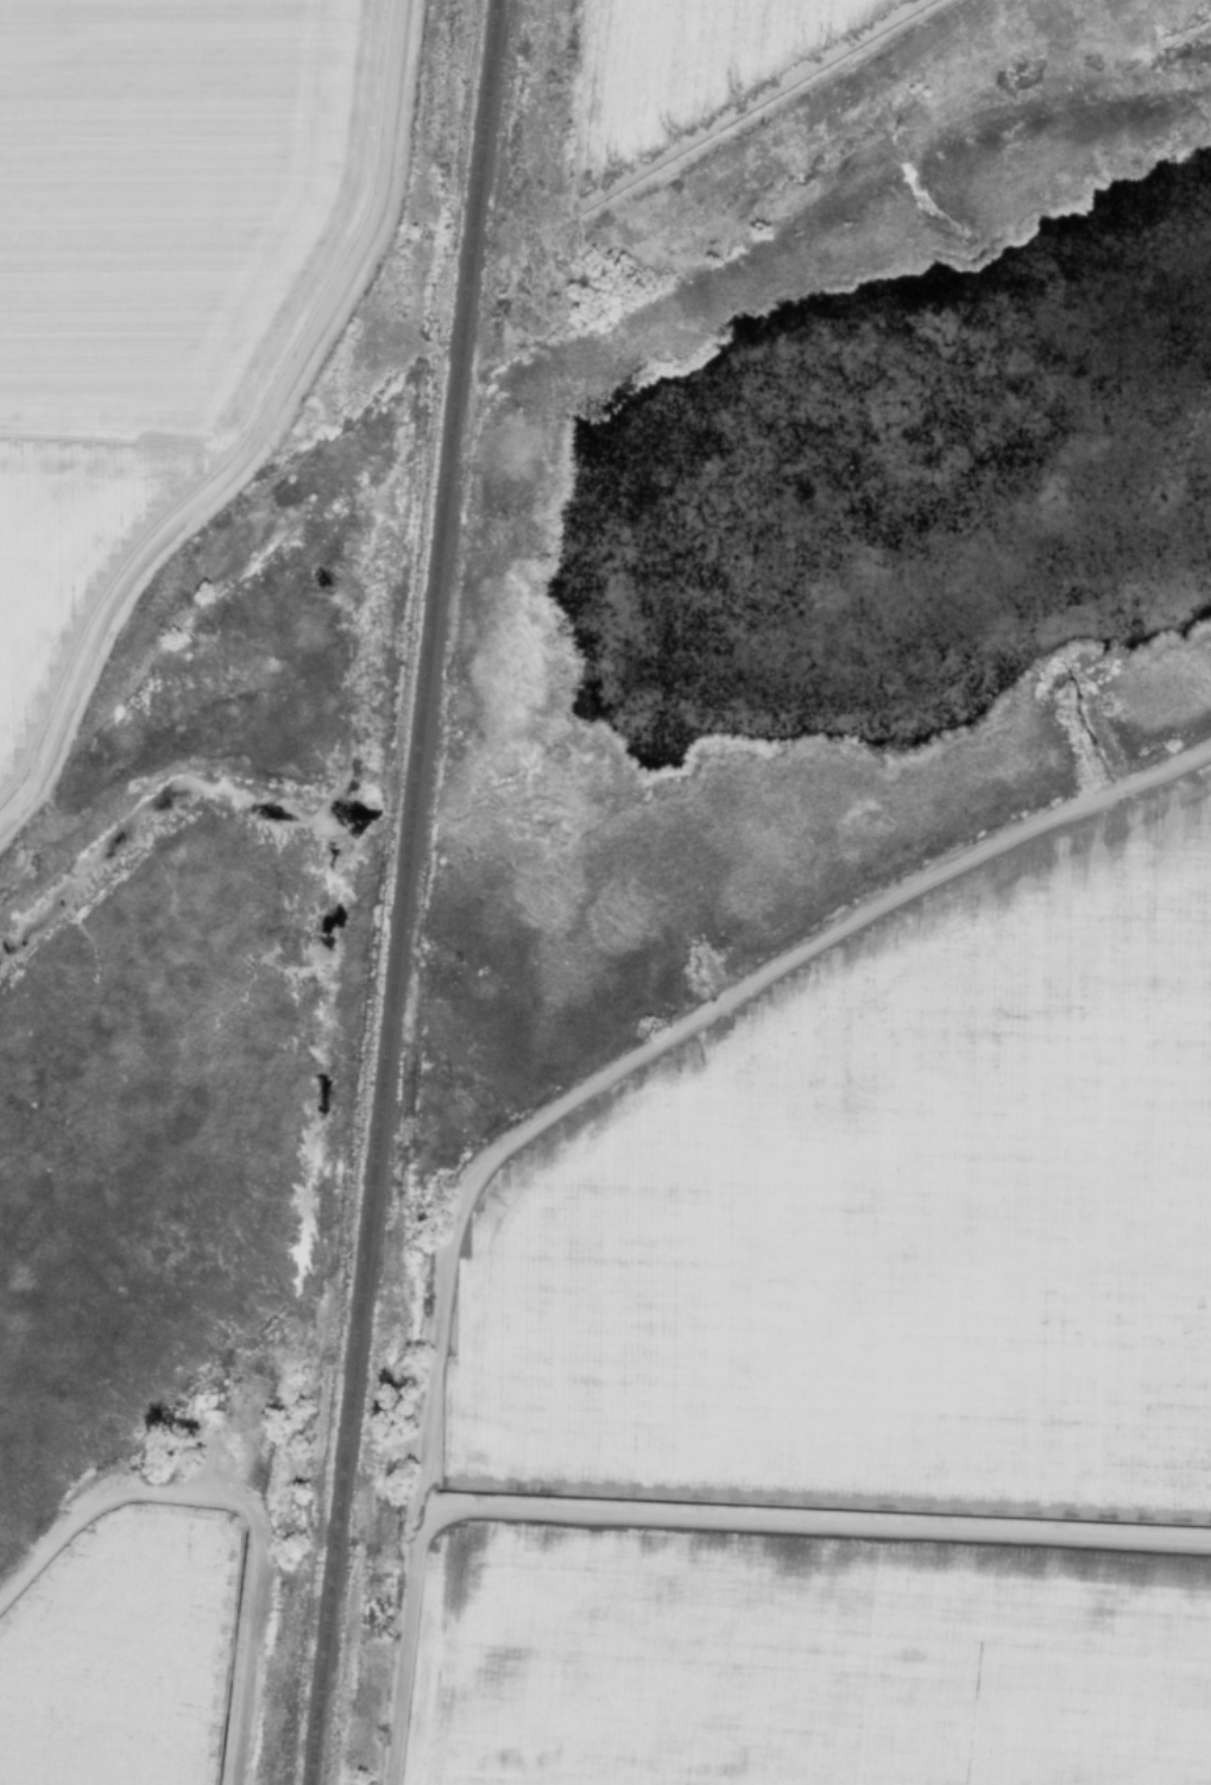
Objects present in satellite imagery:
road: (254, 435)
road: (977, 856)
railway: (403, 892)
road: (439, 1308)
road: (231, 1505)
road: (809, 1521)

